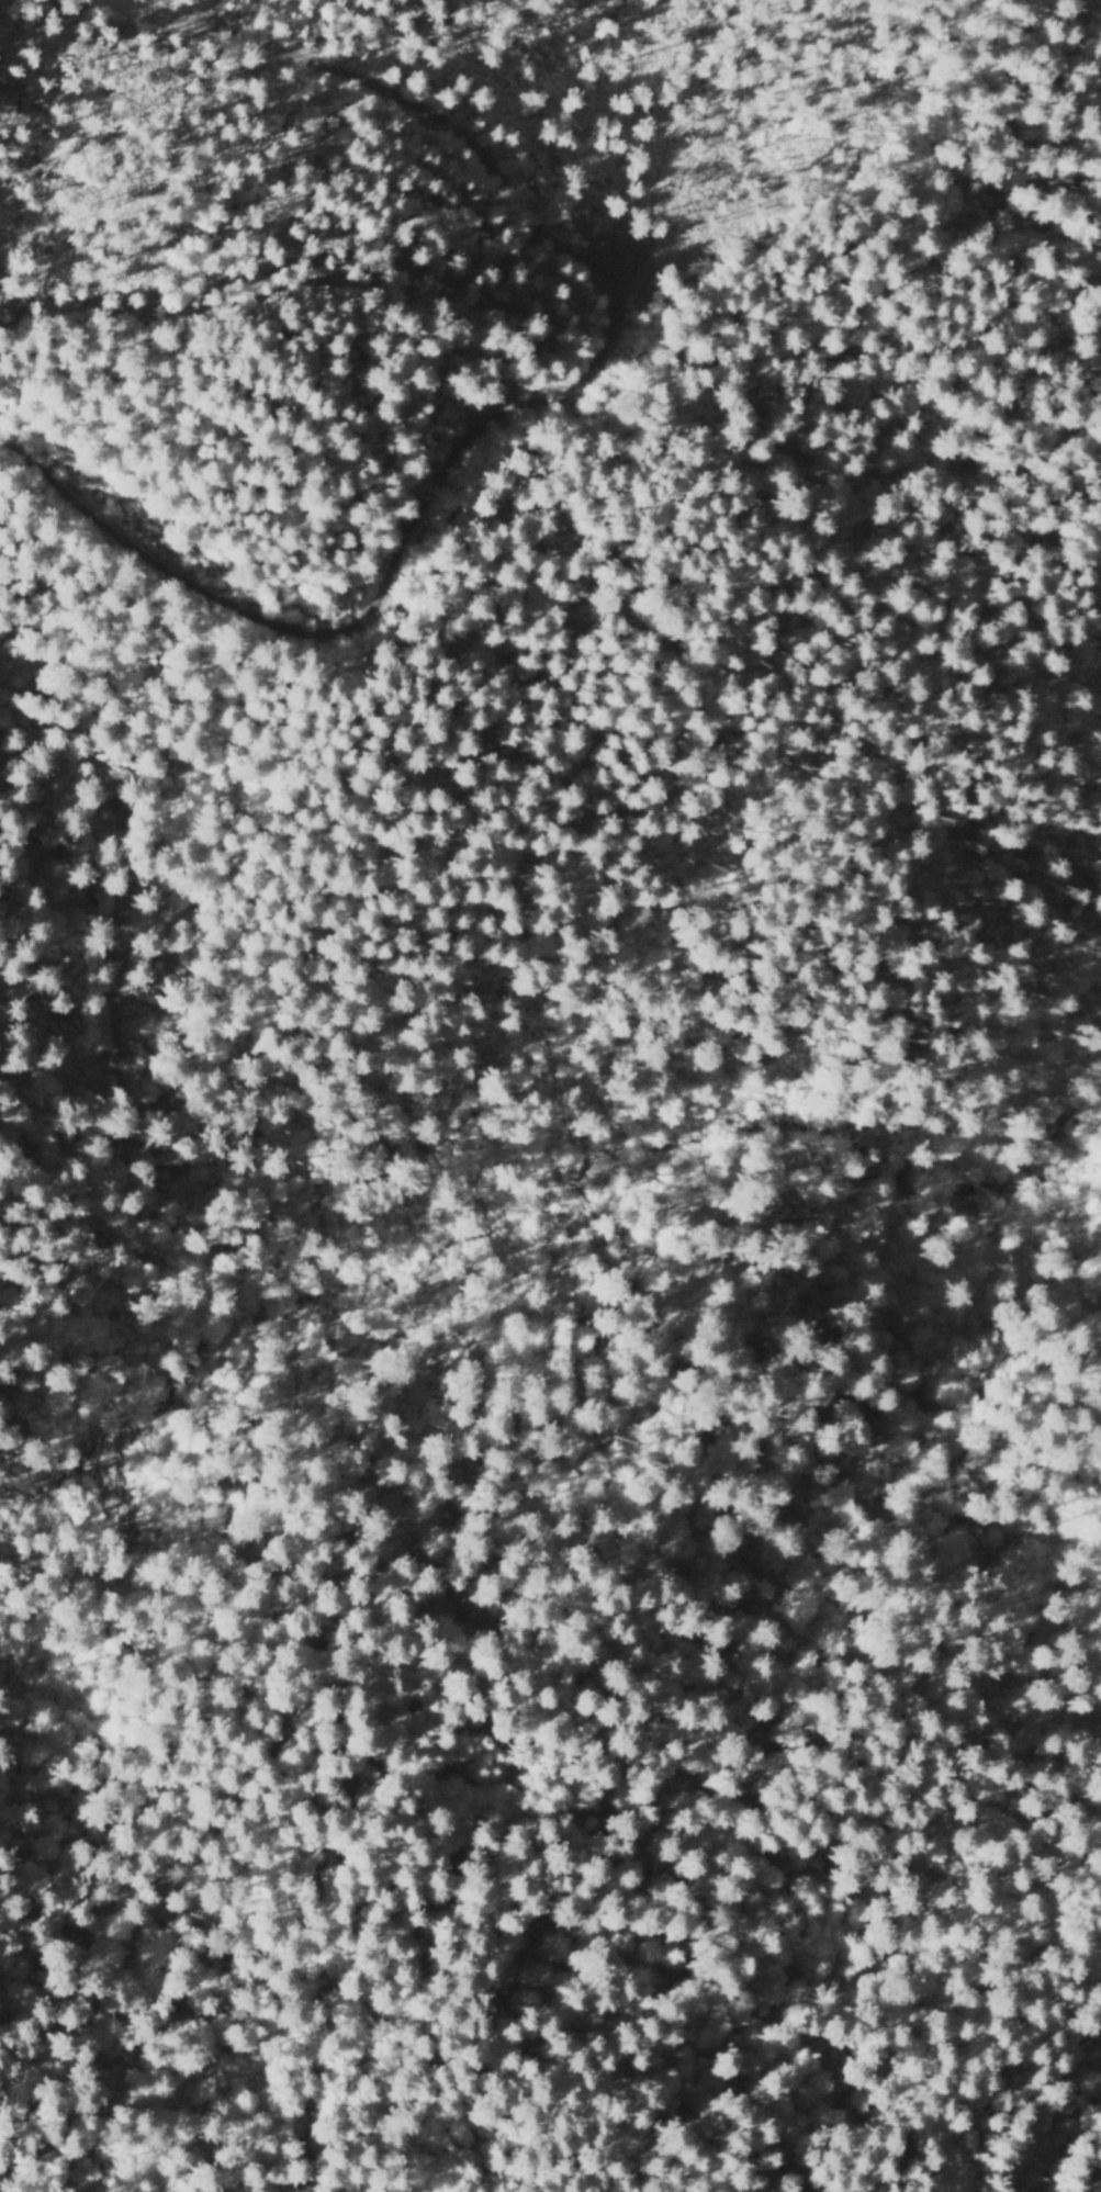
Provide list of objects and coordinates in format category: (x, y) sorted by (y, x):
road: (485, 357)
road: (349, 1980)
road: (946, 2083)
road: (641, 2180)

